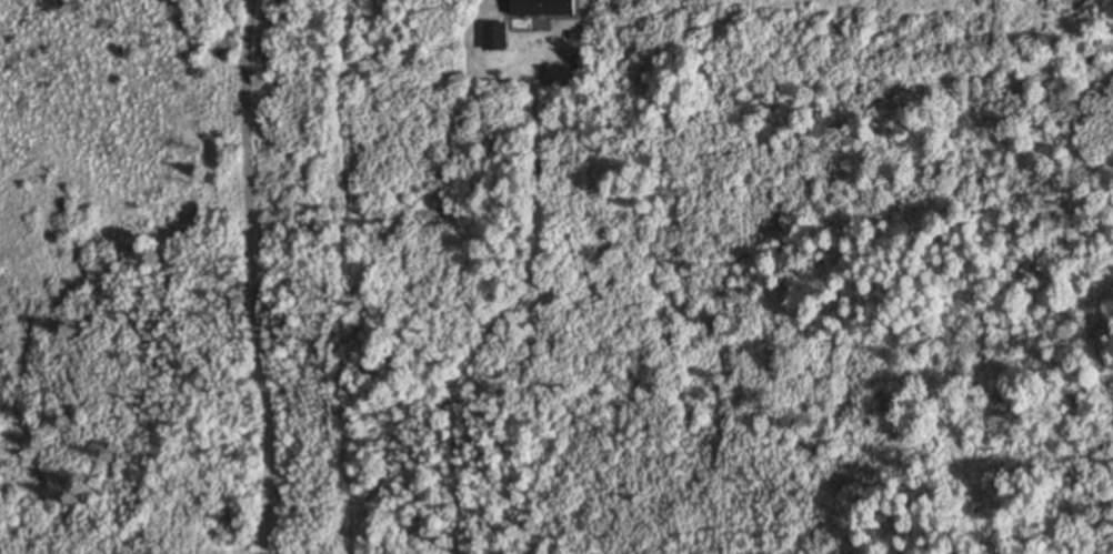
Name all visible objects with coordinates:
building: (519, 26)

